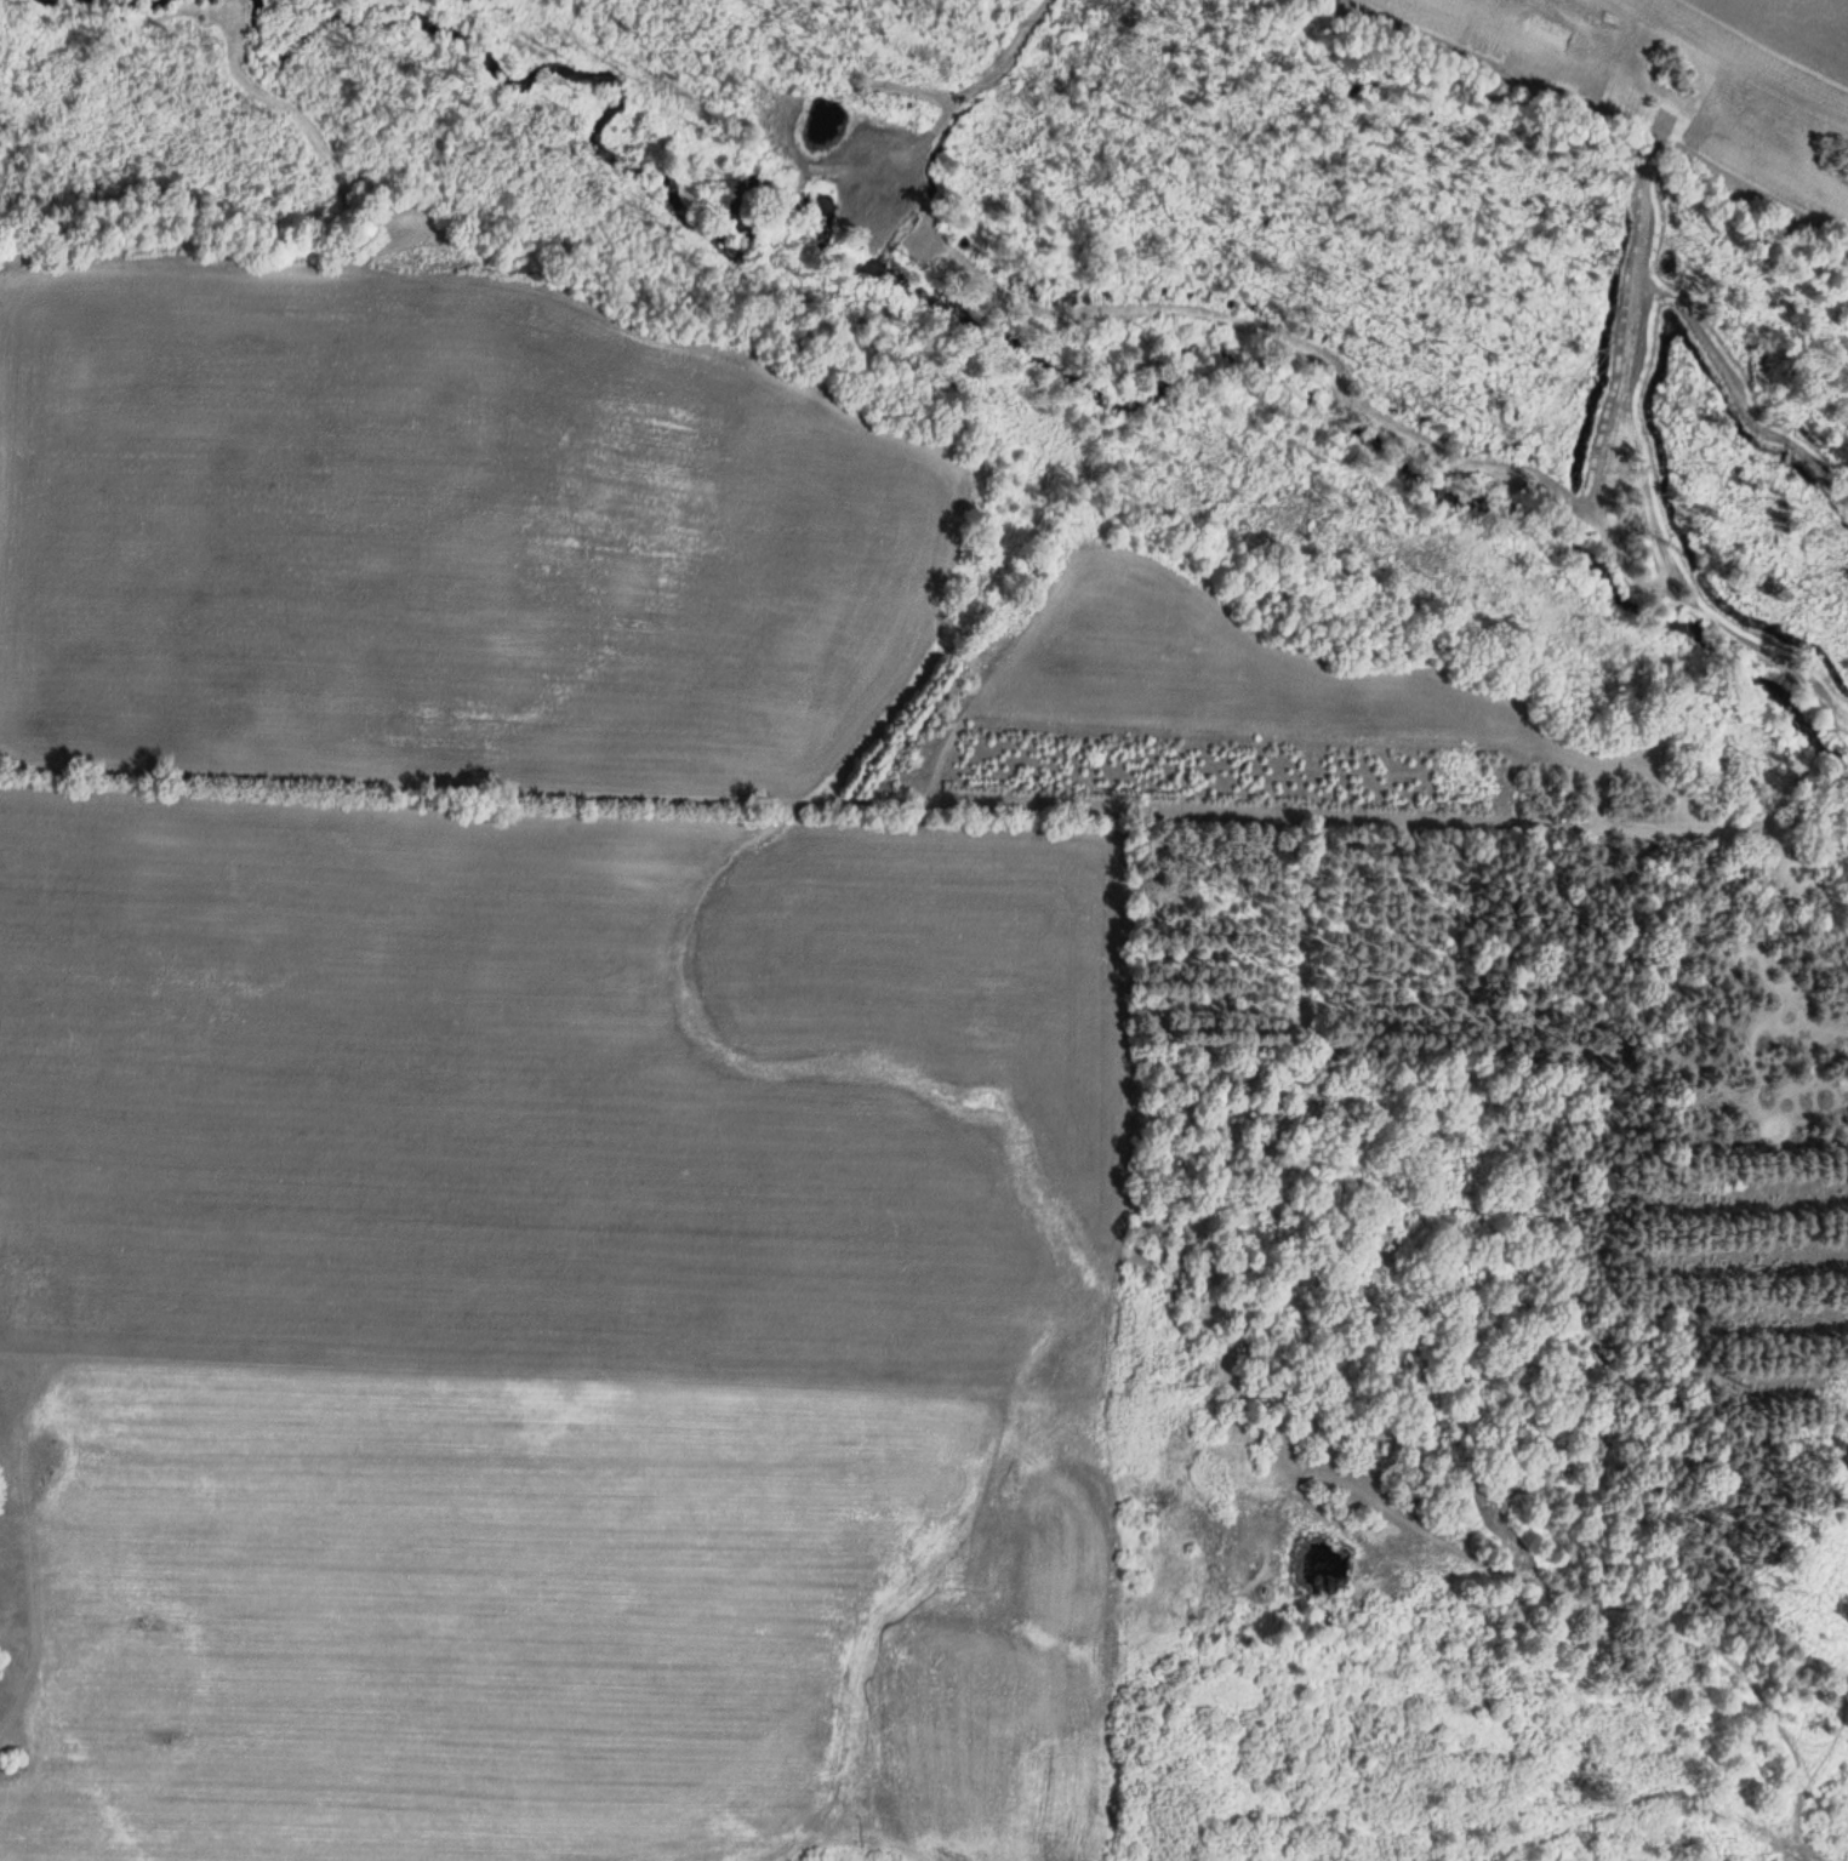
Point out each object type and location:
road: (1728, 69)
road: (1694, 828)

